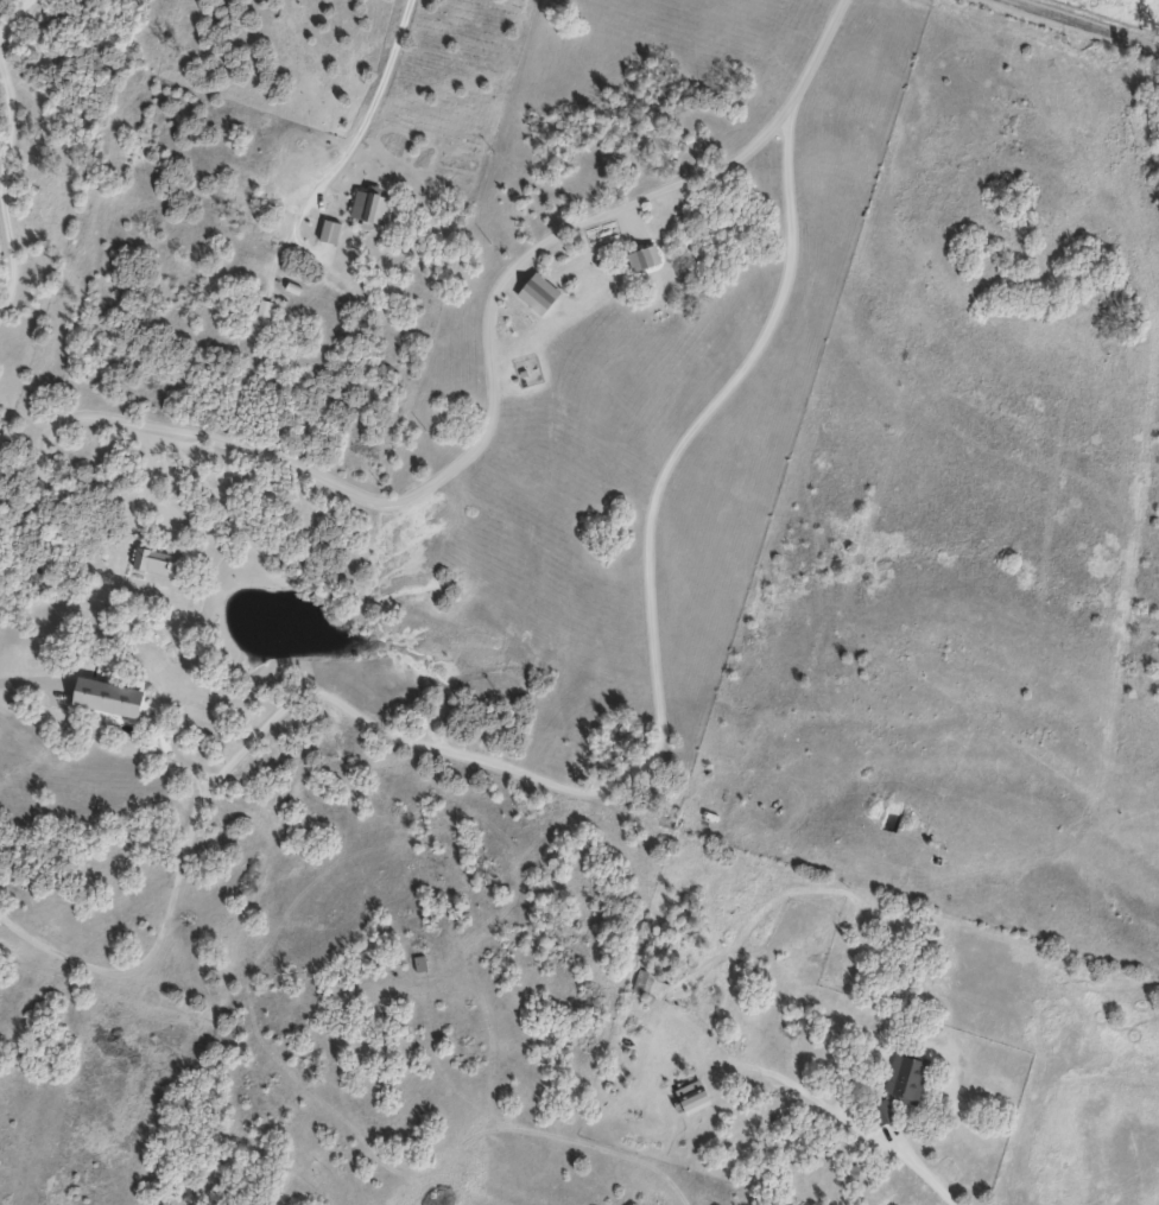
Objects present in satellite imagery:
road: (8, 13)
road: (1081, 25)
road: (807, 57)
road: (6, 118)
road: (340, 145)
building: (369, 208)
building: (329, 232)
road: (4, 253)
building: (642, 259)
building: (538, 294)
road: (446, 463)
building: (153, 563)
building: (109, 698)
road: (566, 792)
building: (905, 1078)
building: (692, 1096)
road: (855, 1124)

